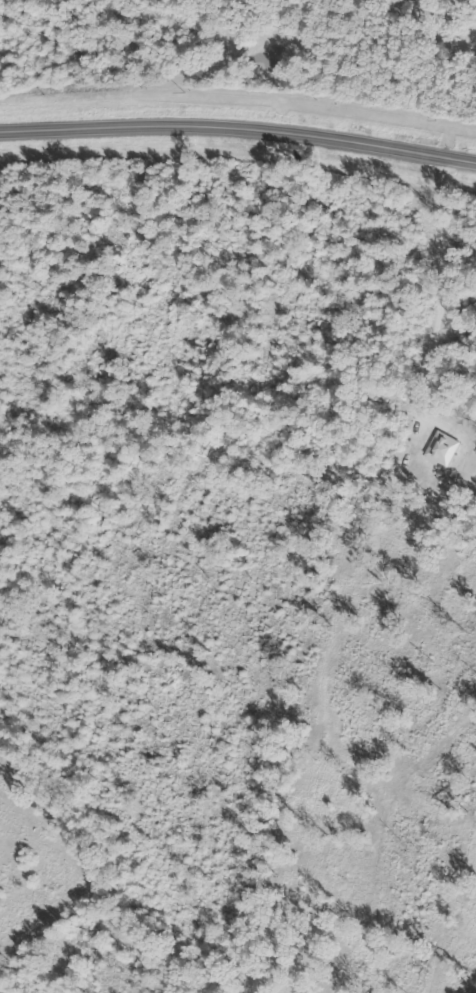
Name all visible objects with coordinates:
road: (340, 18)
road: (239, 130)

